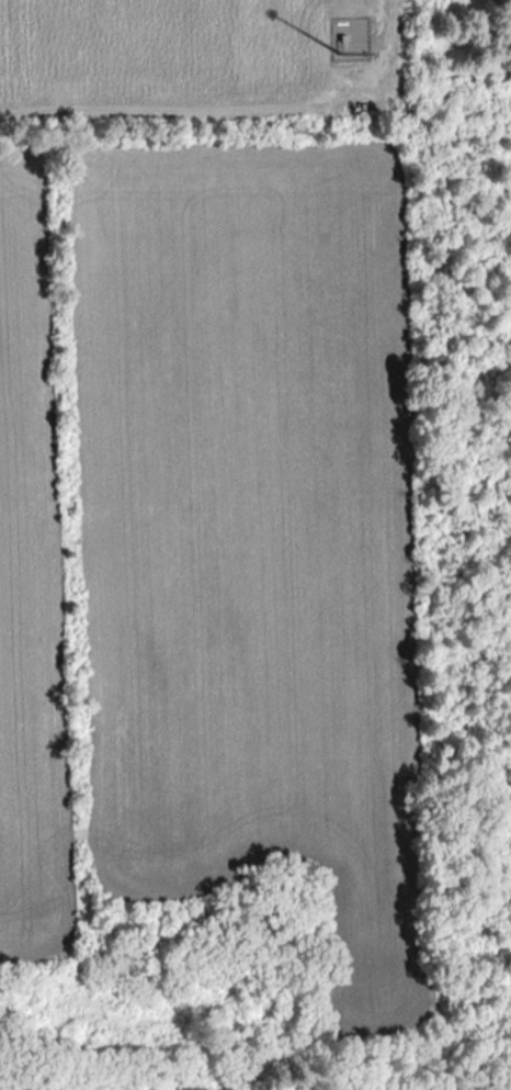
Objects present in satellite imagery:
crop: (166, 56)
crop: (250, 531)
crop: (30, 588)

